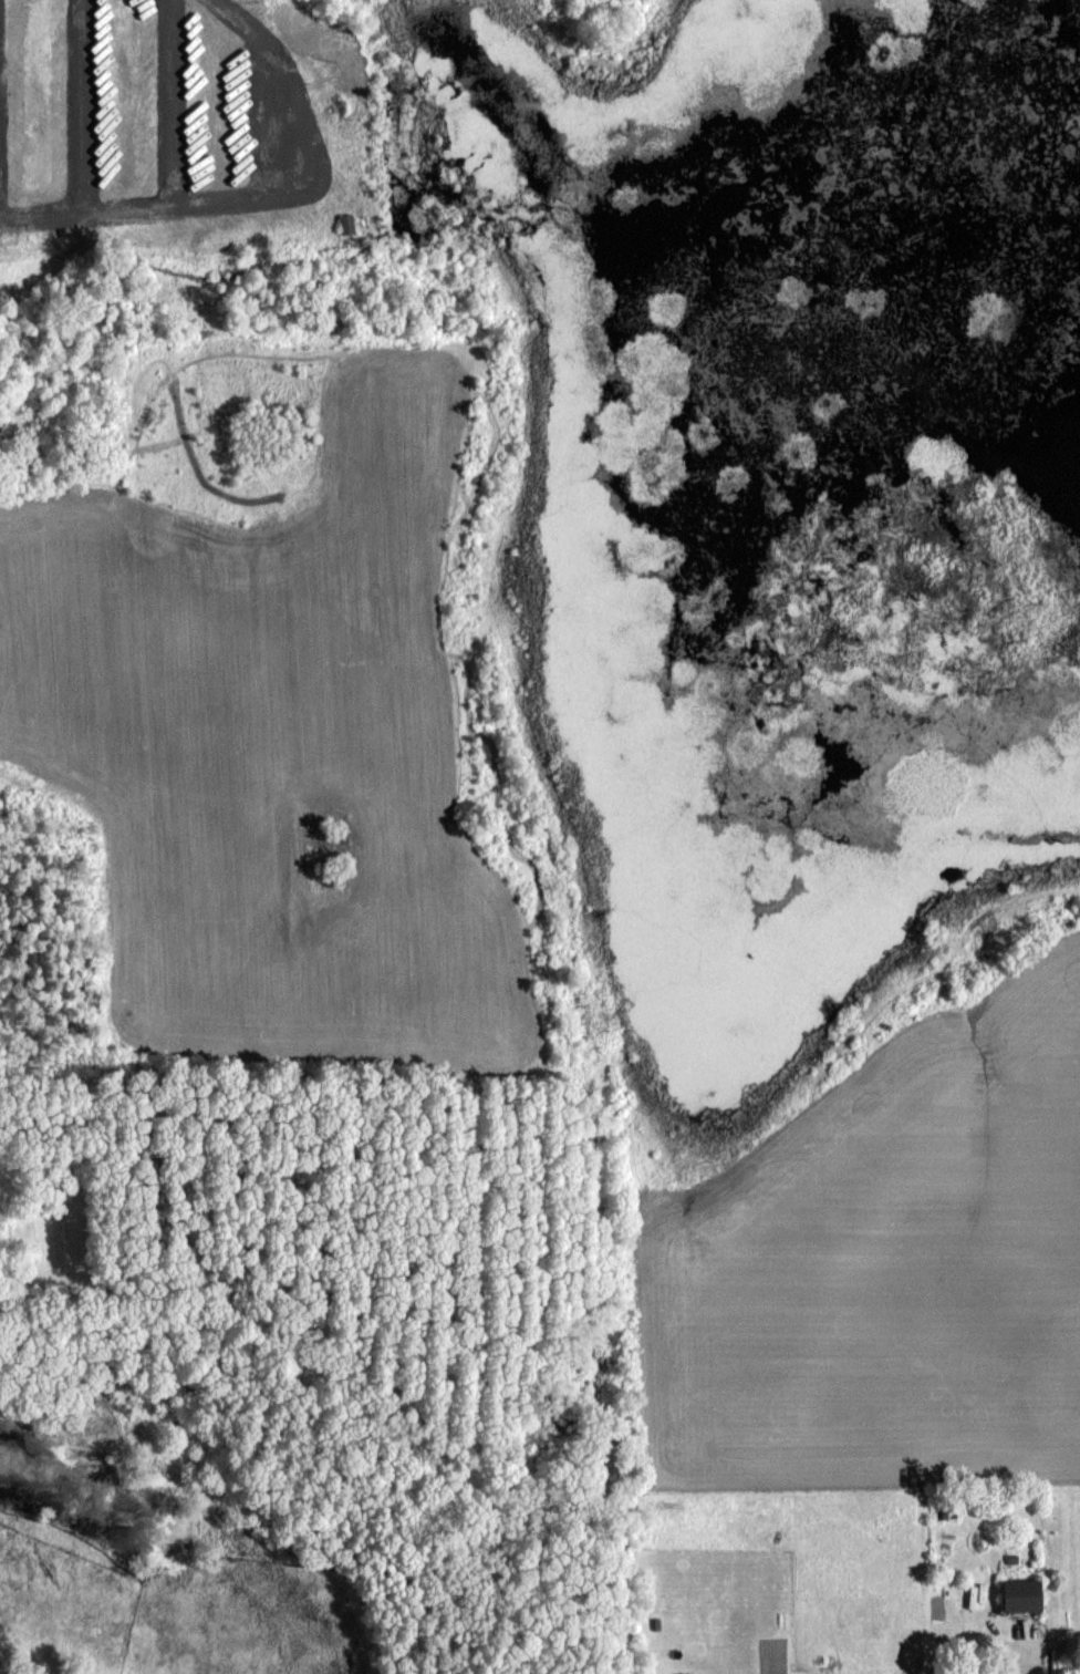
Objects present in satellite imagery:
building: (347, 58)
road: (170, 103)
road: (81, 107)
road: (241, 199)
building: (1027, 1594)

